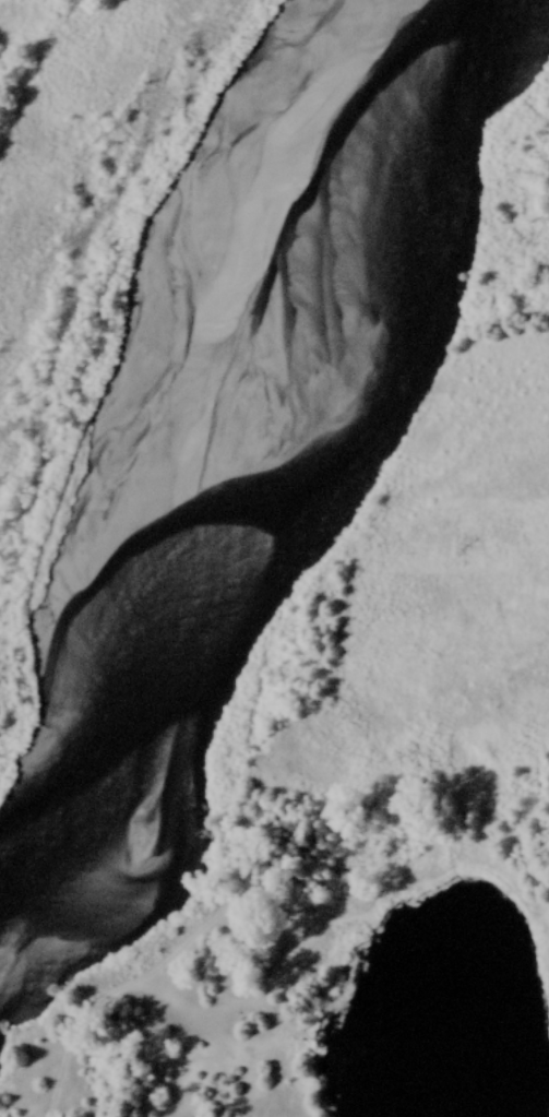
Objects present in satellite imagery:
river: (295, 509)

